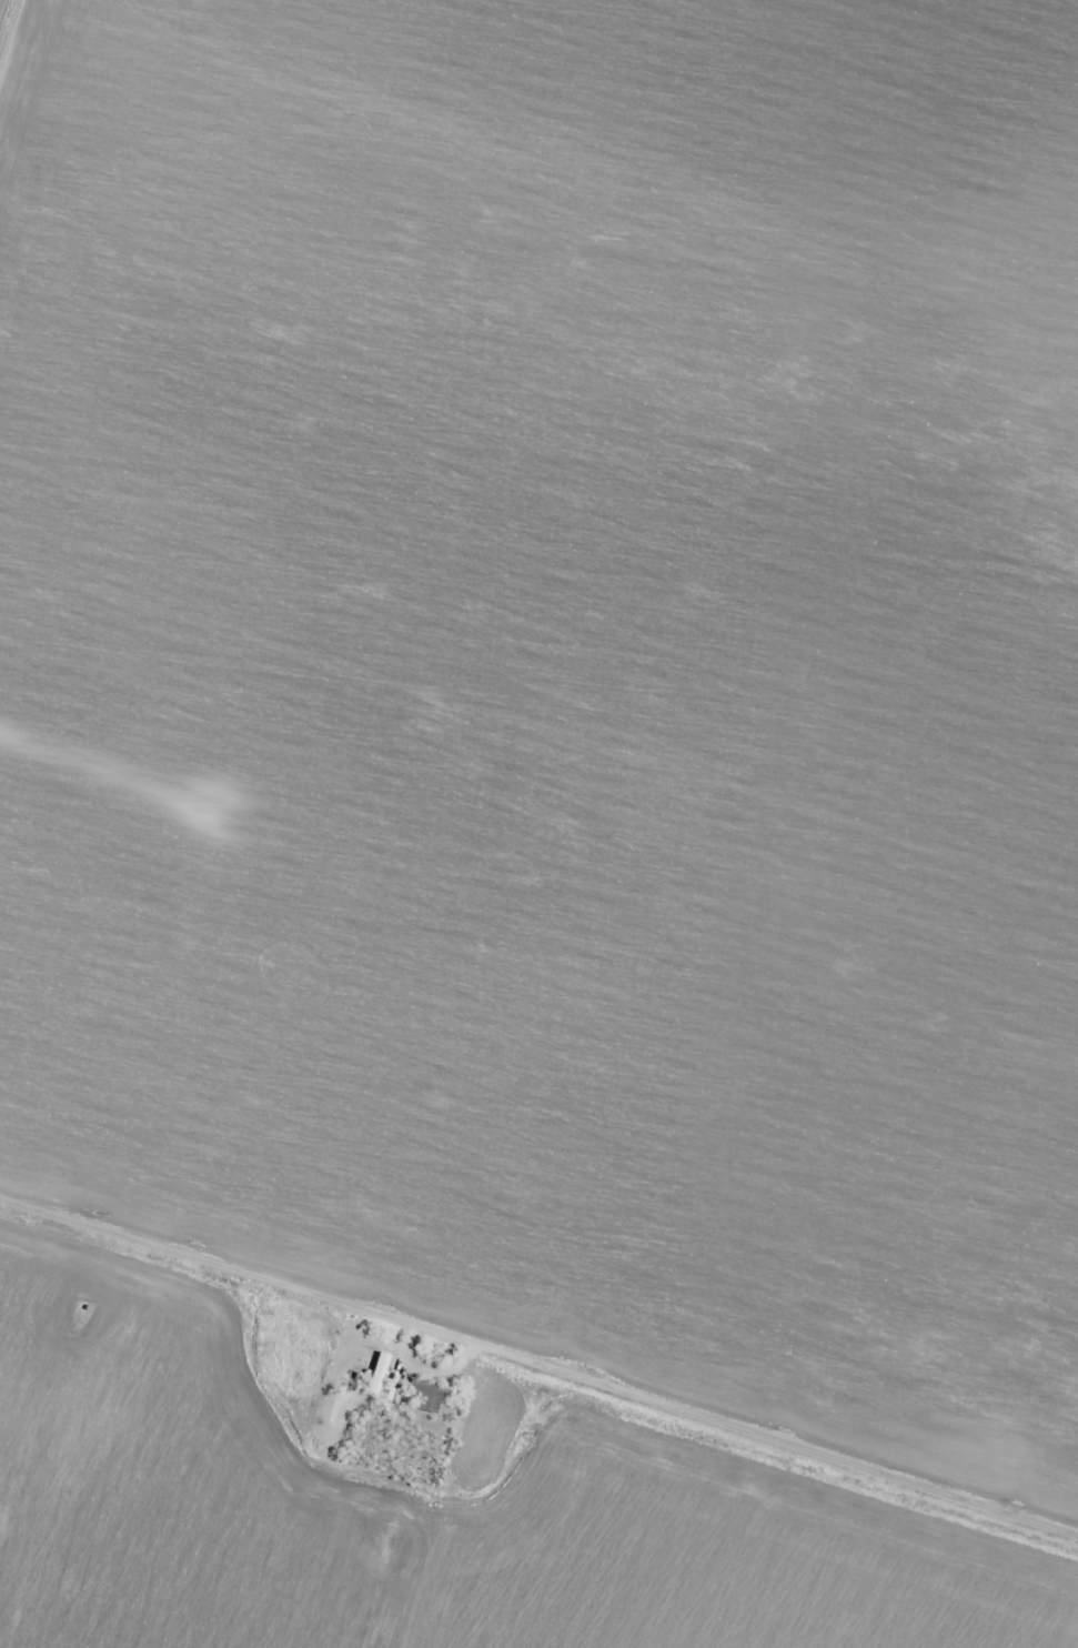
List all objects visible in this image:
road: (538, 1361)

